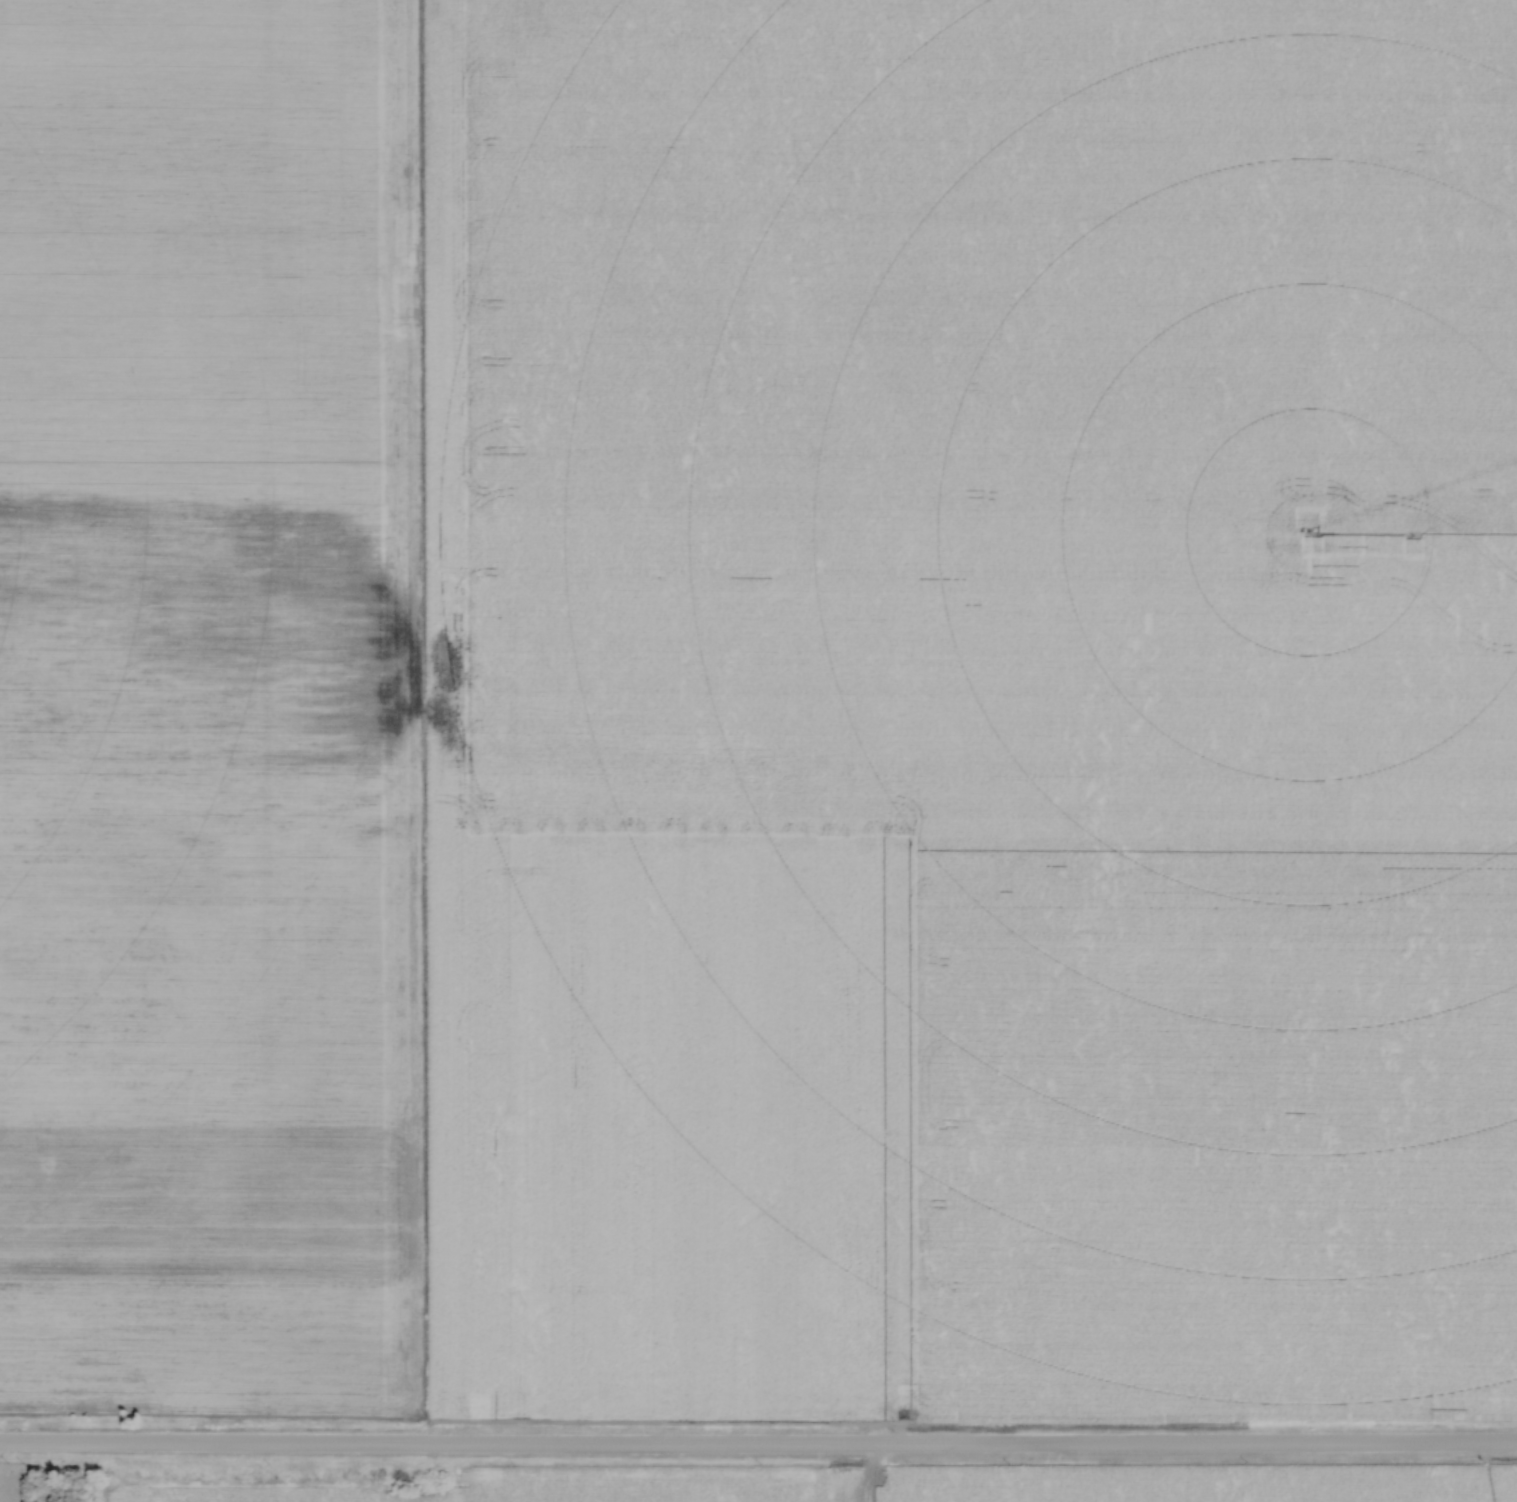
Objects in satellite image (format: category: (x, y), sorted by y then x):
road: (758, 1448)

